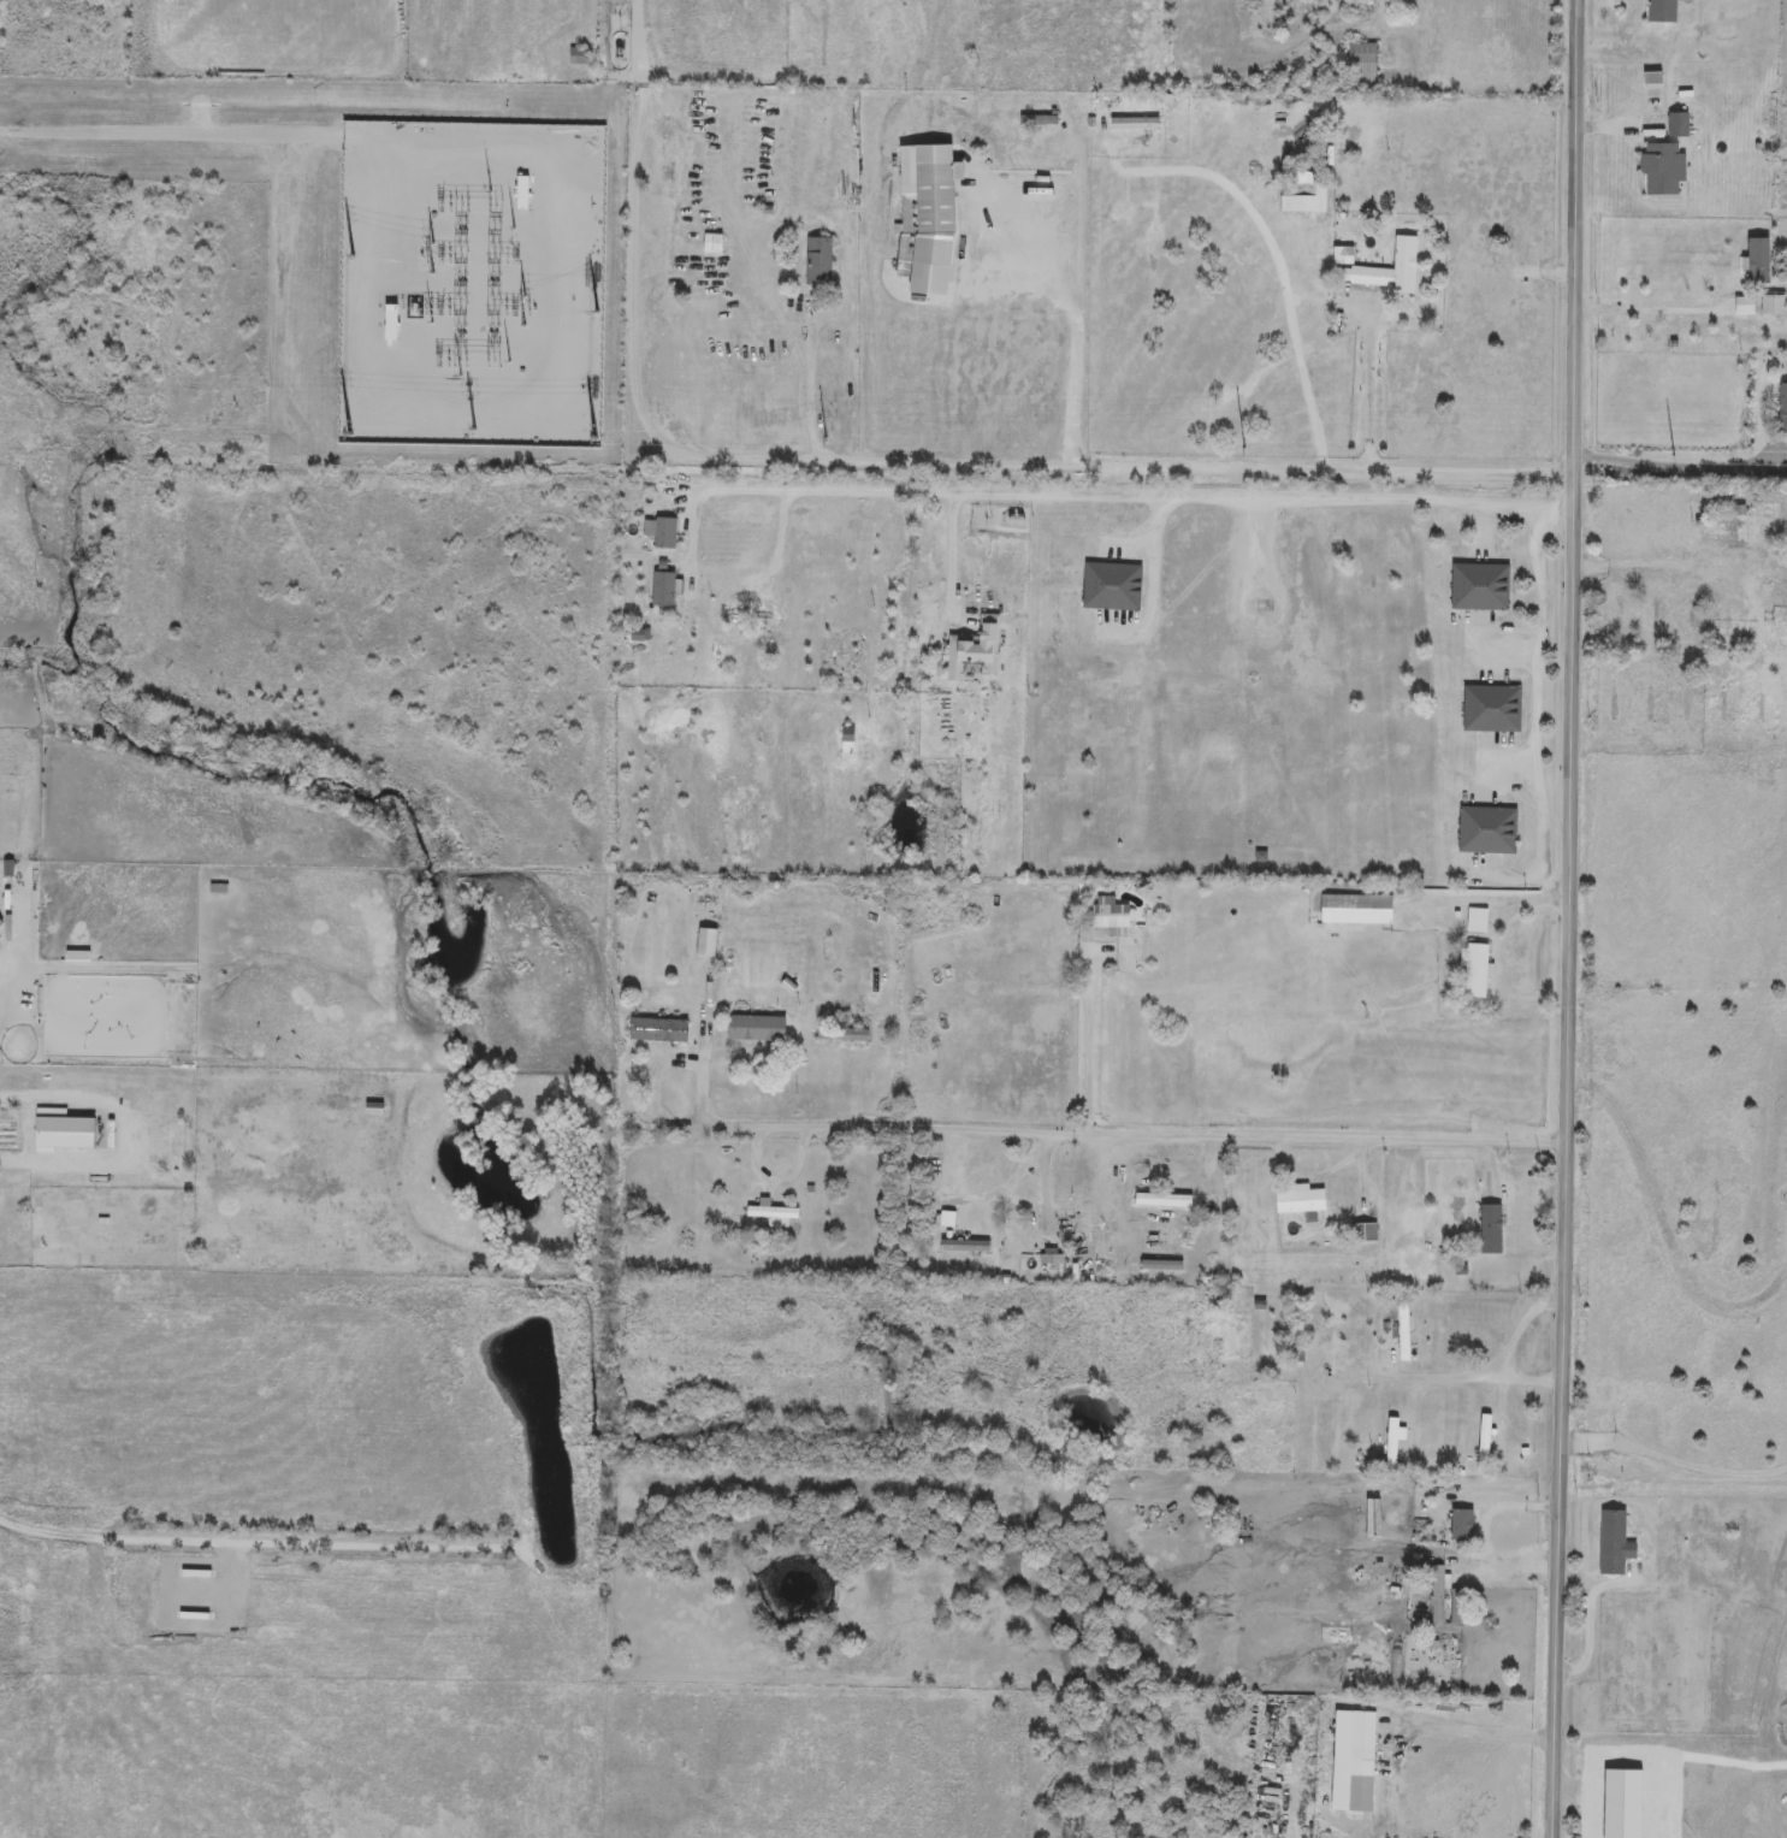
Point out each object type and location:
building: (1662, 11)
road: (1380, 30)
building: (576, 59)
building: (1362, 69)
building: (1036, 123)
building: (1131, 125)
building: (1677, 128)
road: (1619, 129)
road: (1071, 130)
building: (1662, 171)
building: (1302, 200)
road: (993, 215)
building: (928, 218)
building: (711, 247)
building: (1759, 264)
building: (817, 265)
building: (1387, 272)
road: (1288, 286)
building: (1773, 307)
road: (1657, 314)
road: (1077, 320)
road: (1371, 397)
building: (1782, 410)
road: (912, 465)
road: (1675, 472)
road: (1100, 498)
building: (1745, 526)
building: (664, 536)
road: (1677, 568)
building: (1111, 589)
building: (1479, 590)
building: (662, 592)
building: (1684, 621)
building: (1609, 623)
building: (974, 651)
road: (1146, 666)
building: (1657, 702)
building: (1730, 704)
road: (1535, 709)
building: (1692, 709)
building: (1491, 711)
road: (1679, 745)
building: (1073, 769)
building: (1486, 832)
road: (1492, 902)
building: (1355, 911)
building: (1111, 918)
road: (1569, 918)
building: (1475, 922)
building: (0, 924)
building: (78, 970)
building: (1474, 973)
building: (756, 1030)
building: (658, 1032)
building: (842, 1035)
road: (1088, 1038)
road: (700, 1070)
road: (852, 1088)
building: (61, 1133)
road: (1126, 1137)
road: (138, 1141)
road: (1174, 1172)
road: (1314, 1177)
road: (775, 1184)
road: (1060, 1196)
building: (1166, 1199)
building: (1300, 1202)
building: (1010, 1204)
building: (771, 1215)
building: (1490, 1231)
building: (1363, 1234)
building: (1321, 1326)
building: (1402, 1335)
road: (1458, 1378)
building: (1392, 1444)
building: (1484, 1446)
building: (1462, 1527)
building: (1614, 1546)
building: (1437, 1597)
road: (1588, 1615)
building: (1362, 1738)
building: (1353, 1802)

